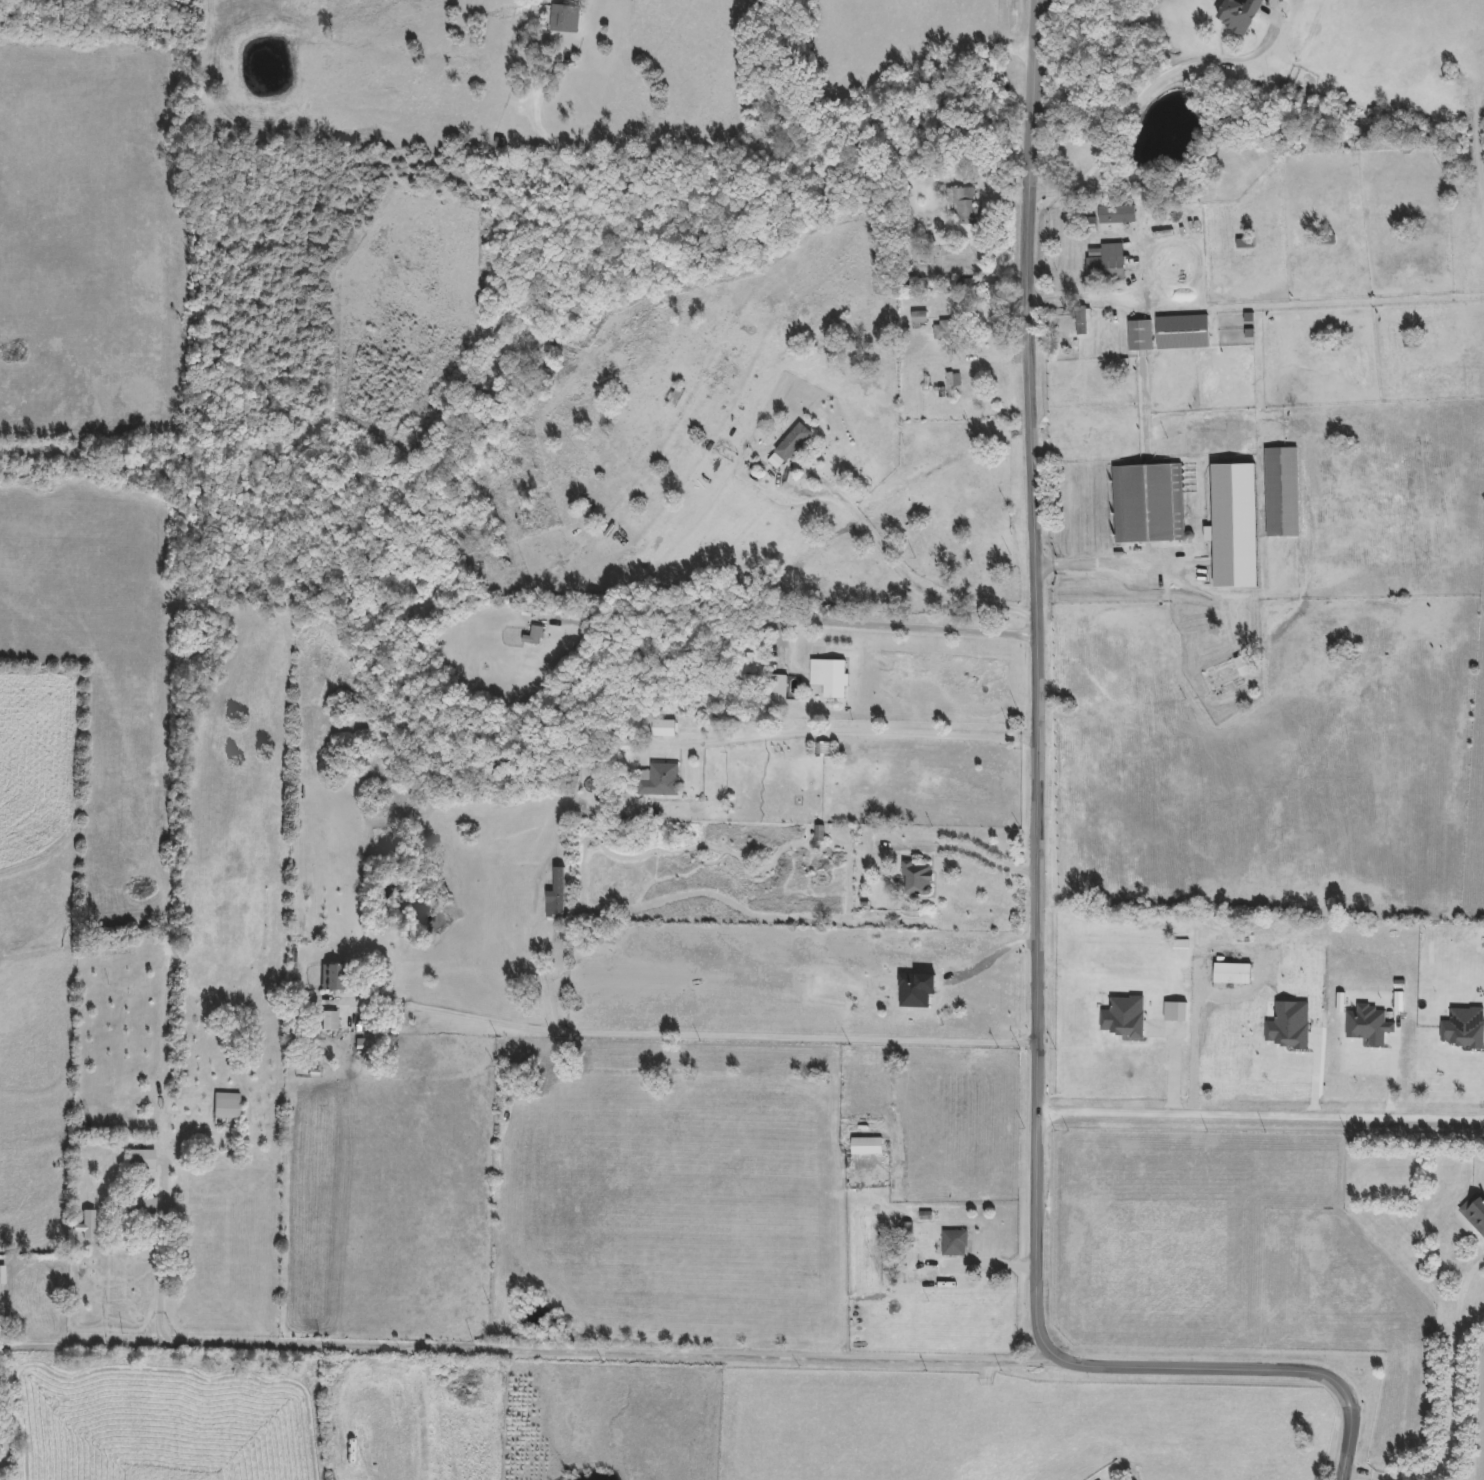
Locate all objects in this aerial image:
building: (1231, 14)
building: (566, 19)
road: (1134, 99)
road: (800, 149)
building: (963, 206)
building: (1130, 215)
building: (1326, 239)
building: (1107, 263)
road: (1080, 297)
building: (920, 319)
building: (945, 331)
building: (1169, 333)
building: (1414, 343)
building: (953, 385)
building: (792, 446)
building: (1290, 496)
building: (1155, 505)
road: (1154, 566)
road: (902, 581)
road: (793, 623)
building: (536, 636)
building: (1231, 673)
building: (832, 678)
building: (778, 687)
building: (665, 729)
road: (844, 733)
building: (660, 780)
road: (986, 858)
road: (1034, 877)
building: (919, 879)
road: (991, 957)
building: (1243, 966)
building: (338, 978)
road: (539, 978)
building: (918, 991)
building: (330, 1022)
road: (695, 1034)
road: (1194, 1055)
road: (1392, 1074)
road: (1316, 1075)
building: (227, 1105)
road: (1260, 1120)
building: (869, 1147)
building: (142, 1161)
building: (140, 1207)
building: (1475, 1212)
building: (955, 1245)
road: (159, 1256)
building: (3, 1276)
road: (527, 1351)
road: (1454, 1411)

